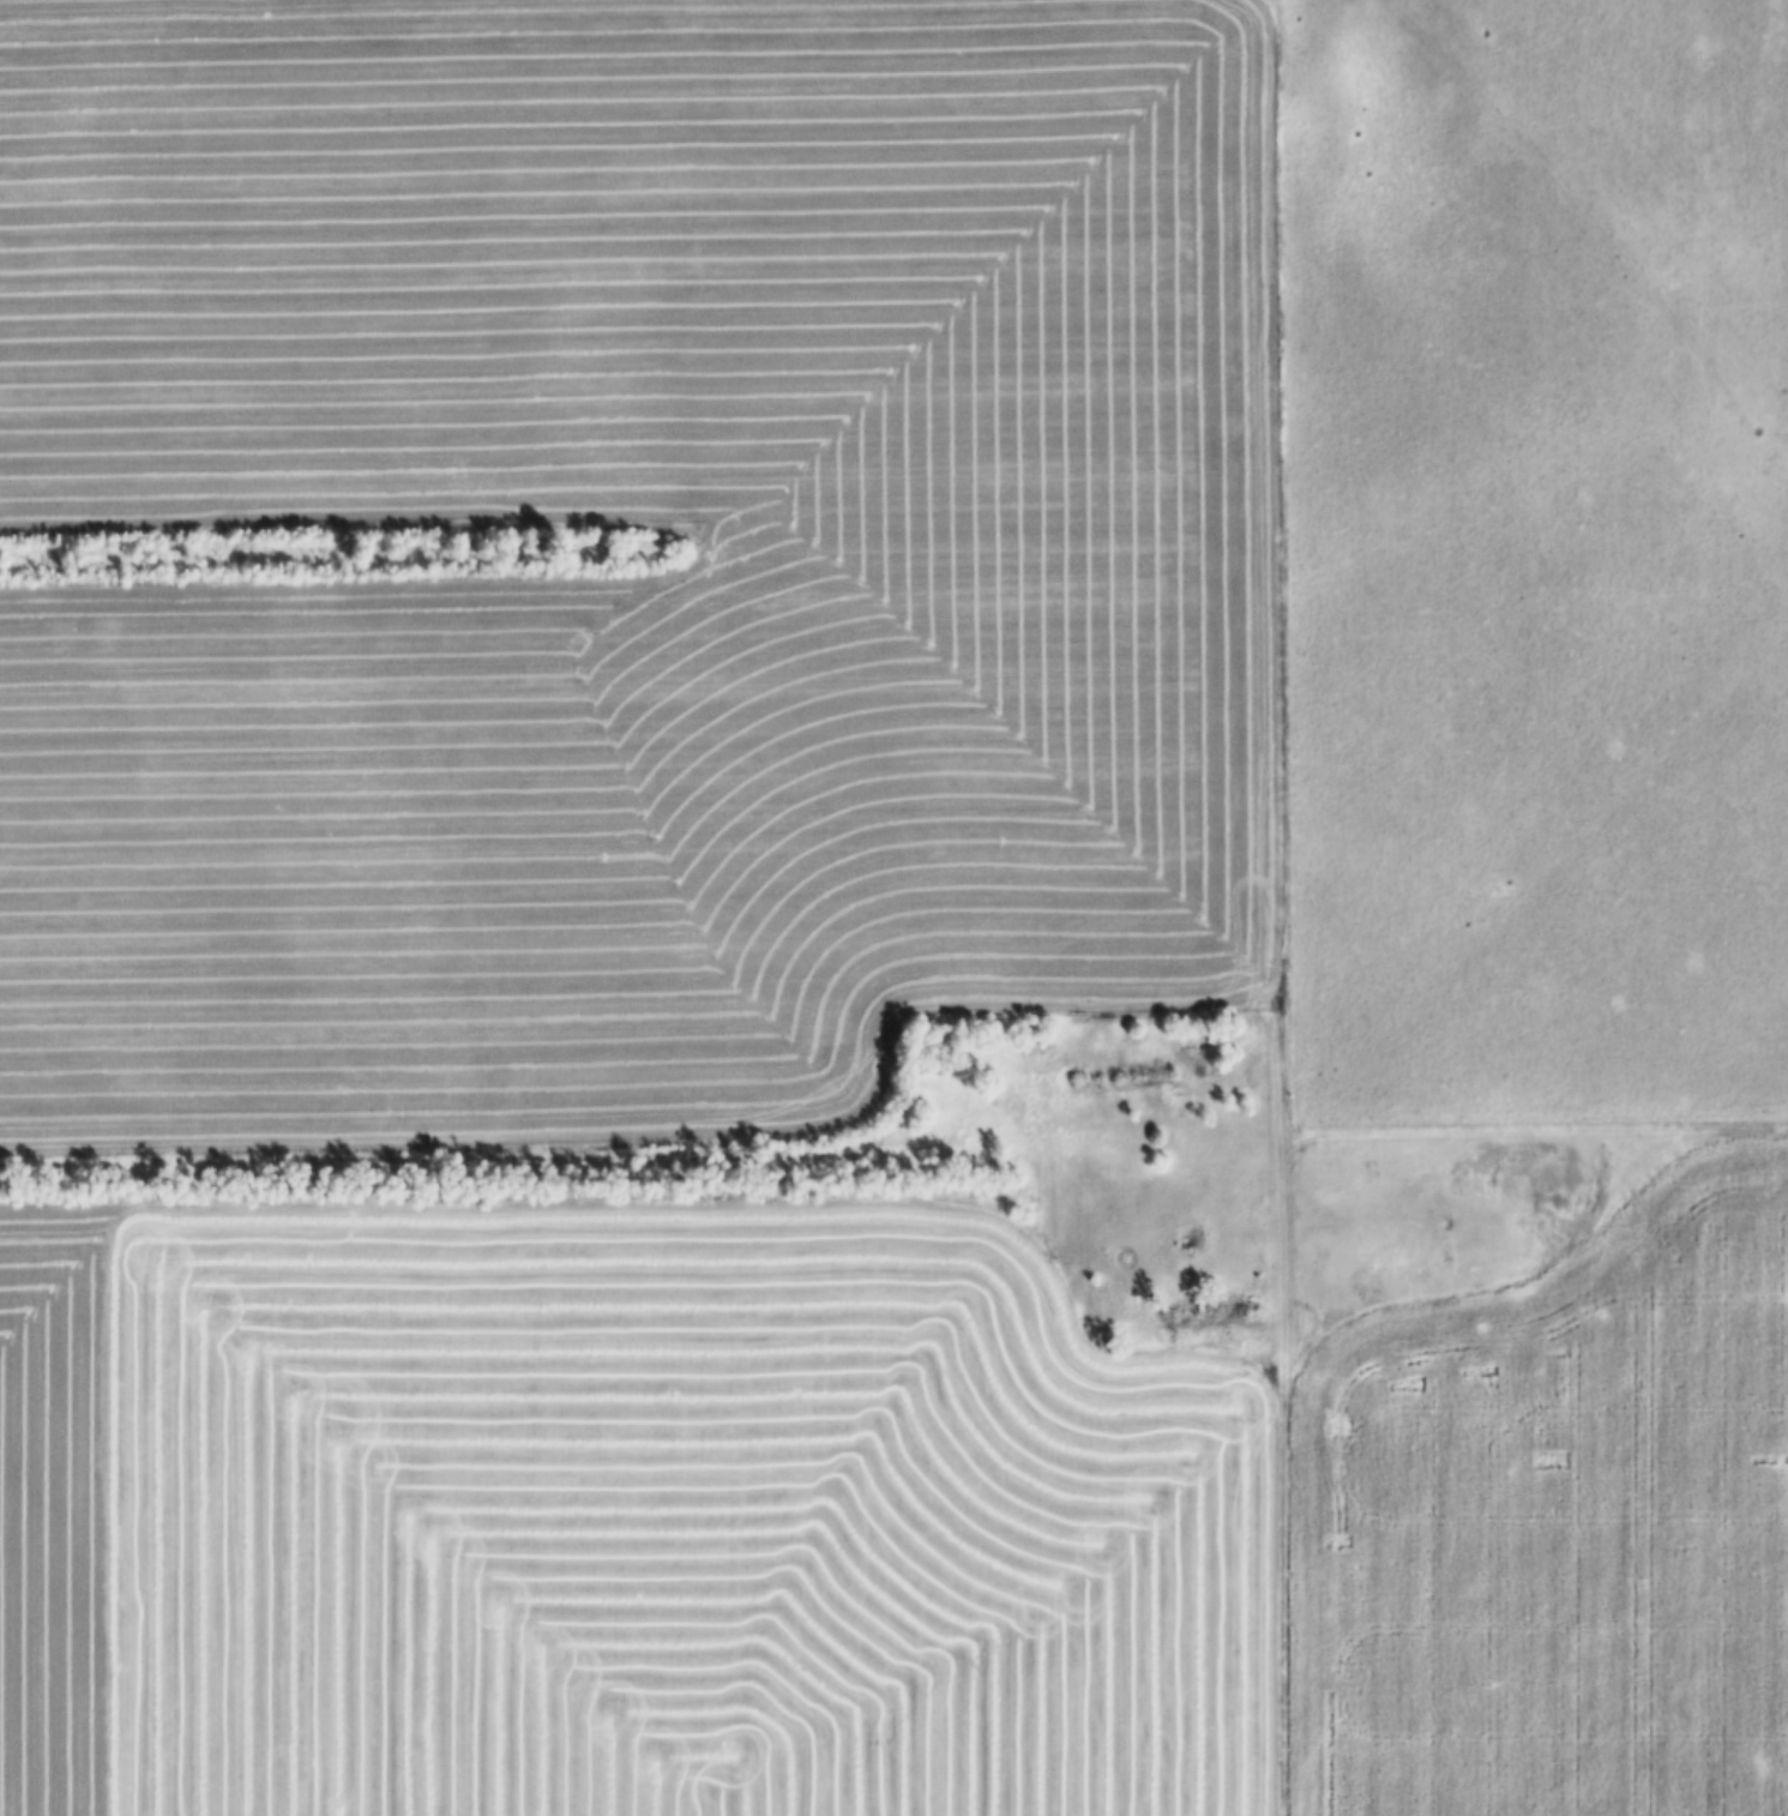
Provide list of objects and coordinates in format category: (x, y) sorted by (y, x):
road: (1278, 907)

